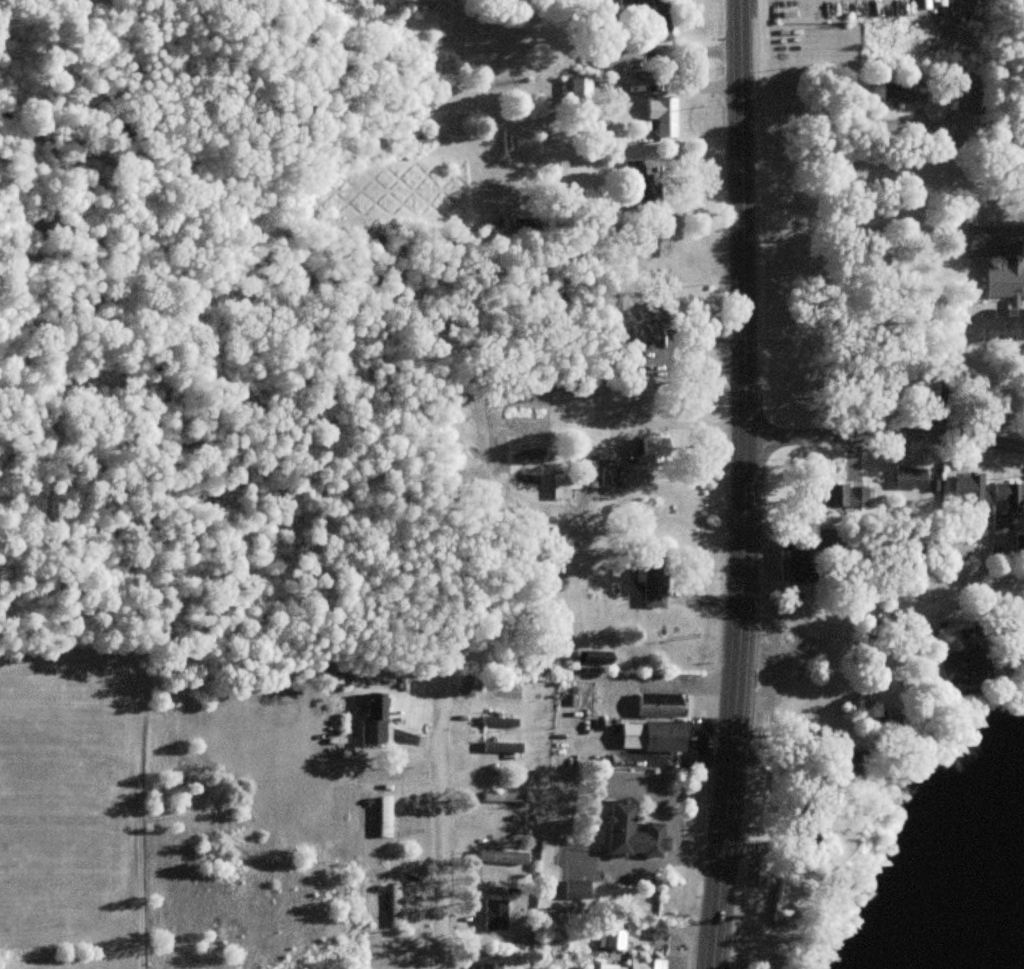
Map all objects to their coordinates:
building: (642, 17)
building: (579, 91)
building: (900, 92)
building: (970, 95)
building: (663, 115)
building: (634, 169)
building: (1013, 262)
road: (882, 337)
road: (884, 434)
building: (654, 450)
building: (583, 477)
building: (910, 478)
road: (742, 485)
building: (969, 489)
building: (839, 496)
building: (1007, 503)
building: (1019, 544)
building: (948, 550)
building: (794, 560)
road: (967, 586)
building: (597, 659)
building: (963, 662)
building: (501, 693)
building: (661, 705)
building: (374, 719)
building: (652, 736)
building: (506, 745)
building: (505, 797)
building: (385, 816)
road: (445, 824)
building: (634, 833)
building: (502, 856)
building: (576, 889)
building: (395, 905)
building: (494, 915)
building: (646, 963)
building: (489, 965)

